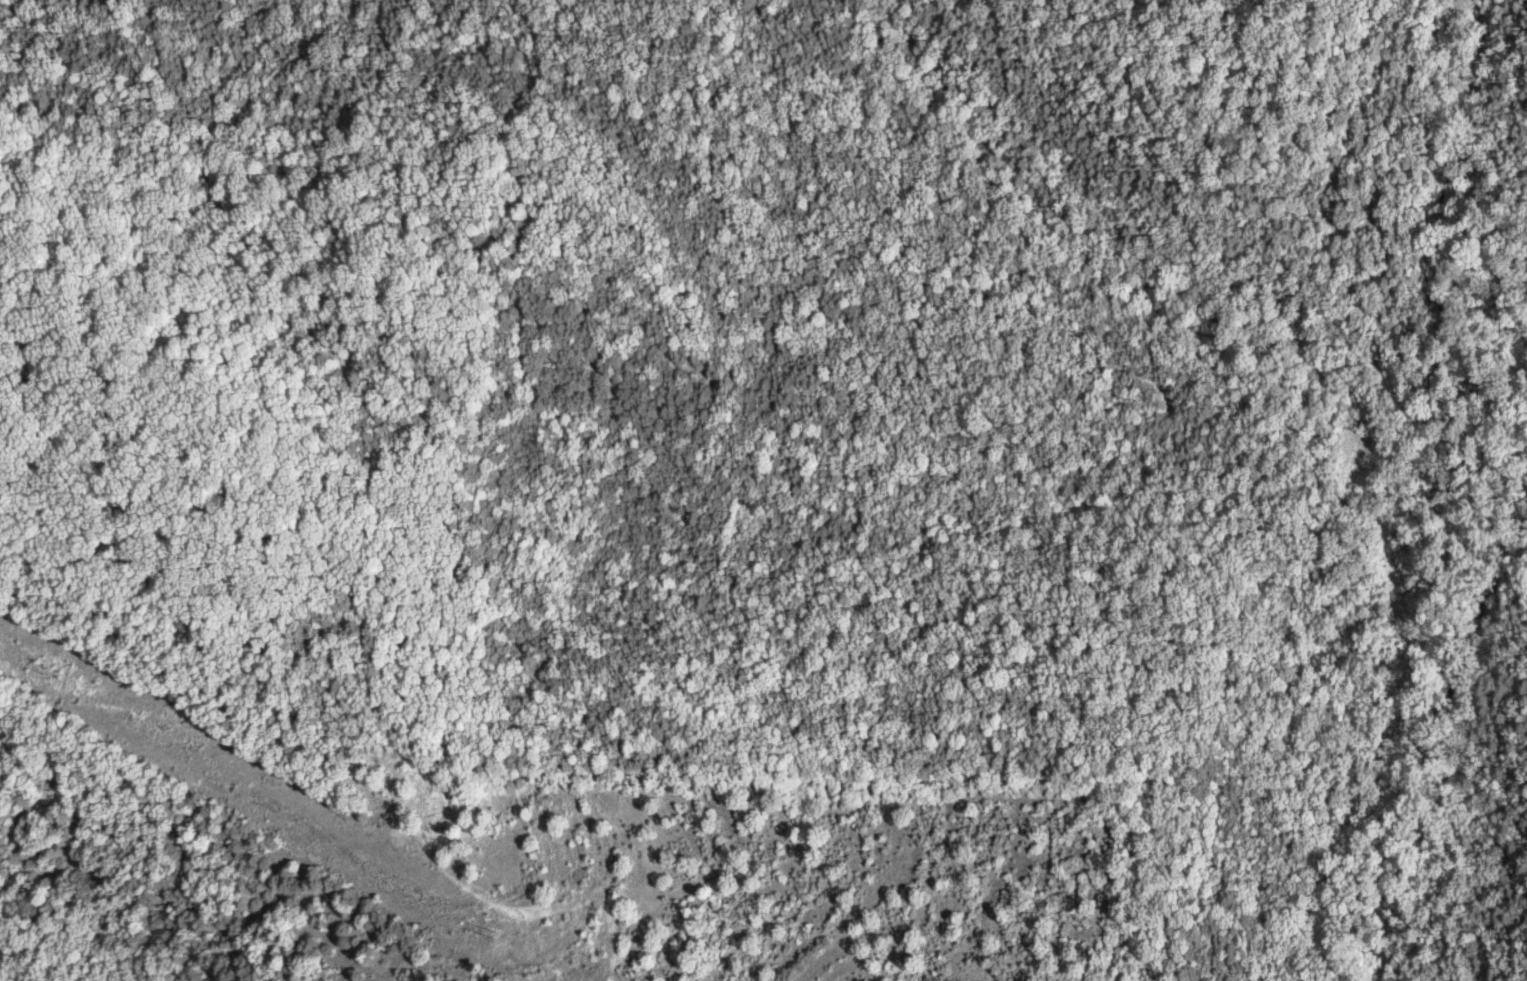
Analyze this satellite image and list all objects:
power tower: (62, 674)
power tower: (495, 930)

